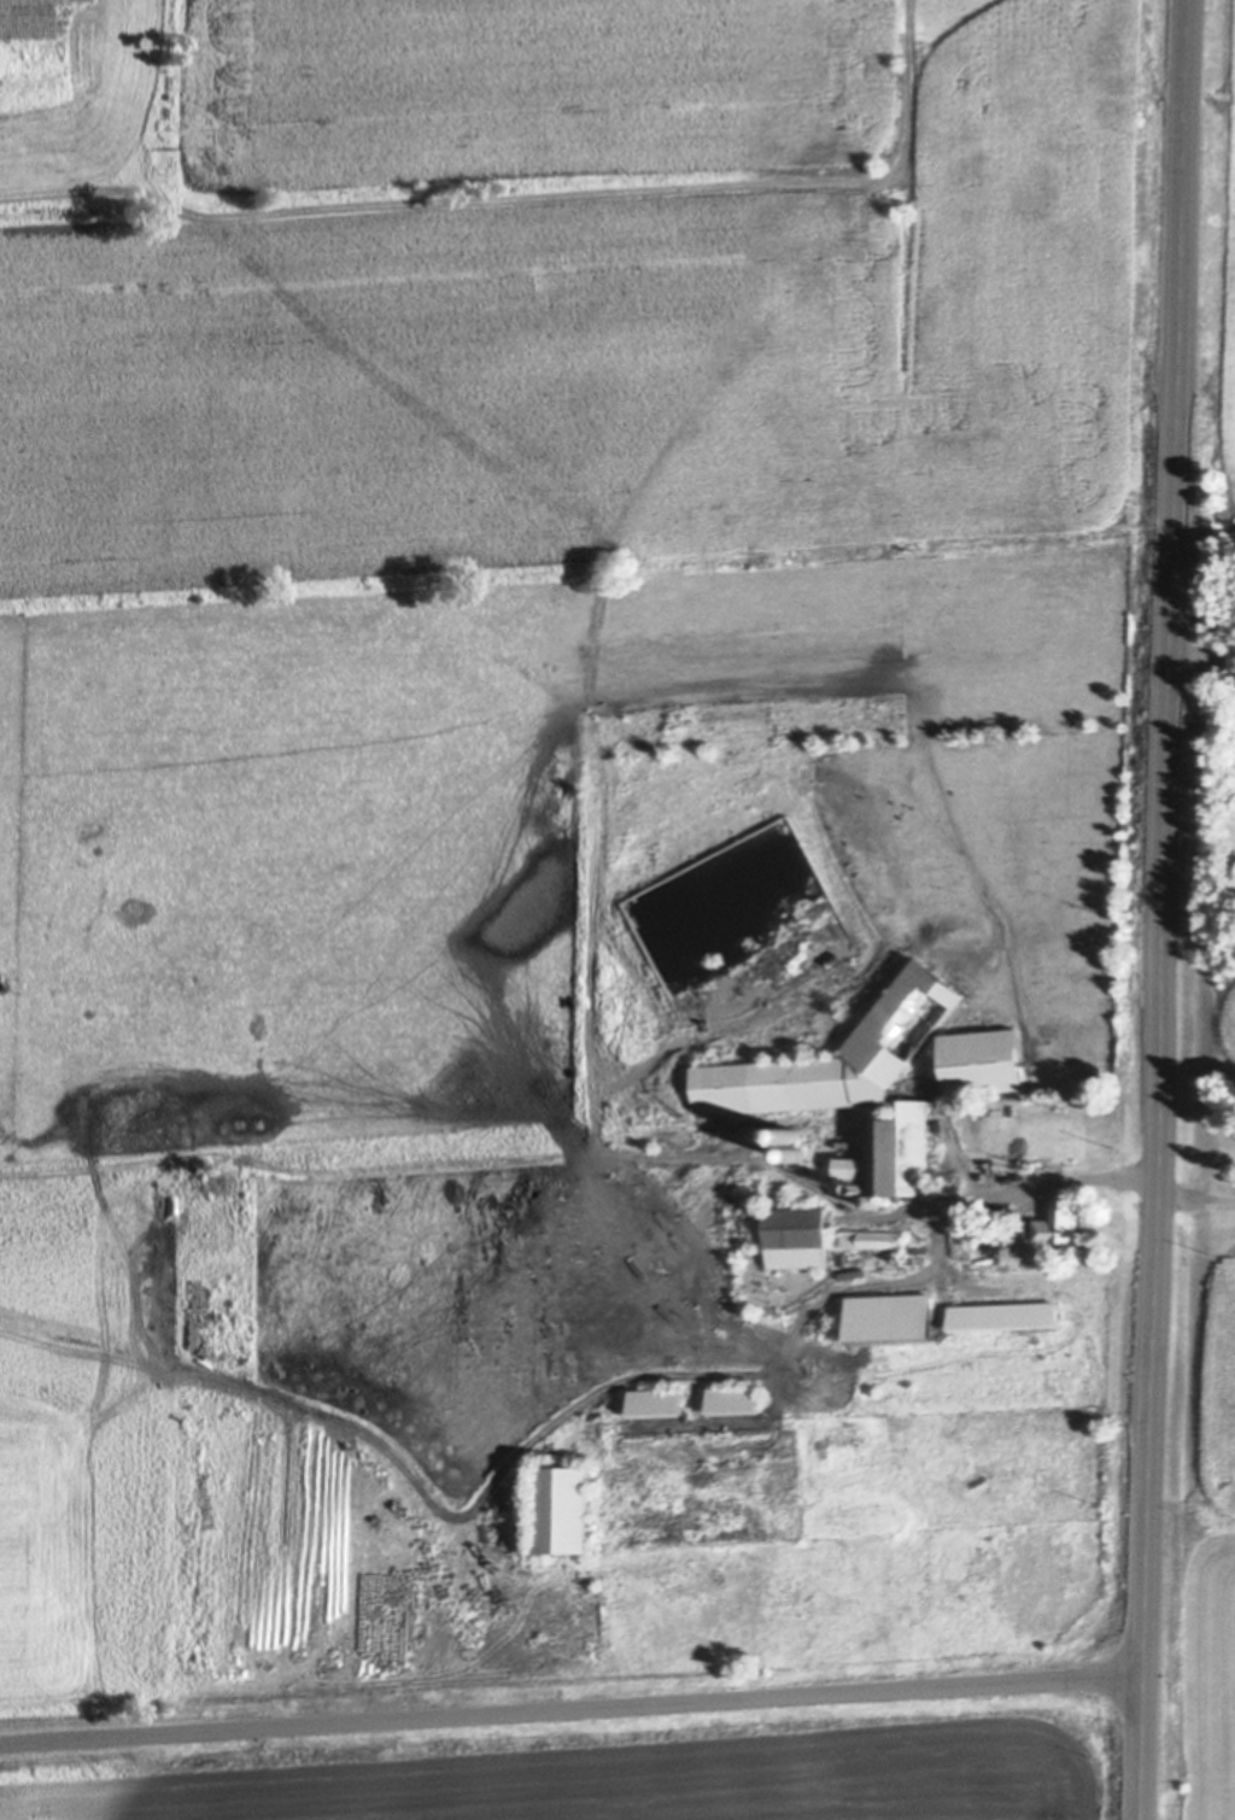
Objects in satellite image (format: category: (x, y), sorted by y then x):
crop: (1223, 286)
crop: (482, 551)
road: (1204, 659)
road: (1163, 909)
crop: (1207, 1018)
building: (983, 1065)
building: (938, 1066)
building: (854, 1085)
building: (790, 1134)
building: (796, 1152)
building: (763, 1194)
road: (1195, 1199)
building: (1057, 1229)
building: (1017, 1230)
building: (989, 1233)
building: (798, 1240)
building: (870, 1240)
building: (917, 1245)
building: (772, 1295)
building: (772, 1307)
building: (1005, 1319)
building: (891, 1323)
road: (267, 1382)
building: (736, 1403)
building: (656, 1404)
building: (563, 1515)
crop: (1201, 1538)
road: (569, 1707)
crop: (607, 1775)

